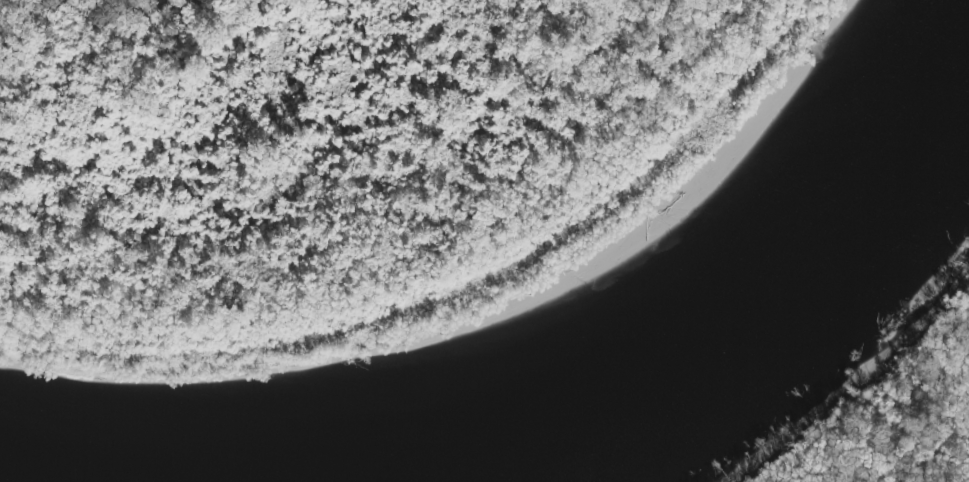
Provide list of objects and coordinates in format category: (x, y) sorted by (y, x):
river: (647, 332)
river: (102, 475)

